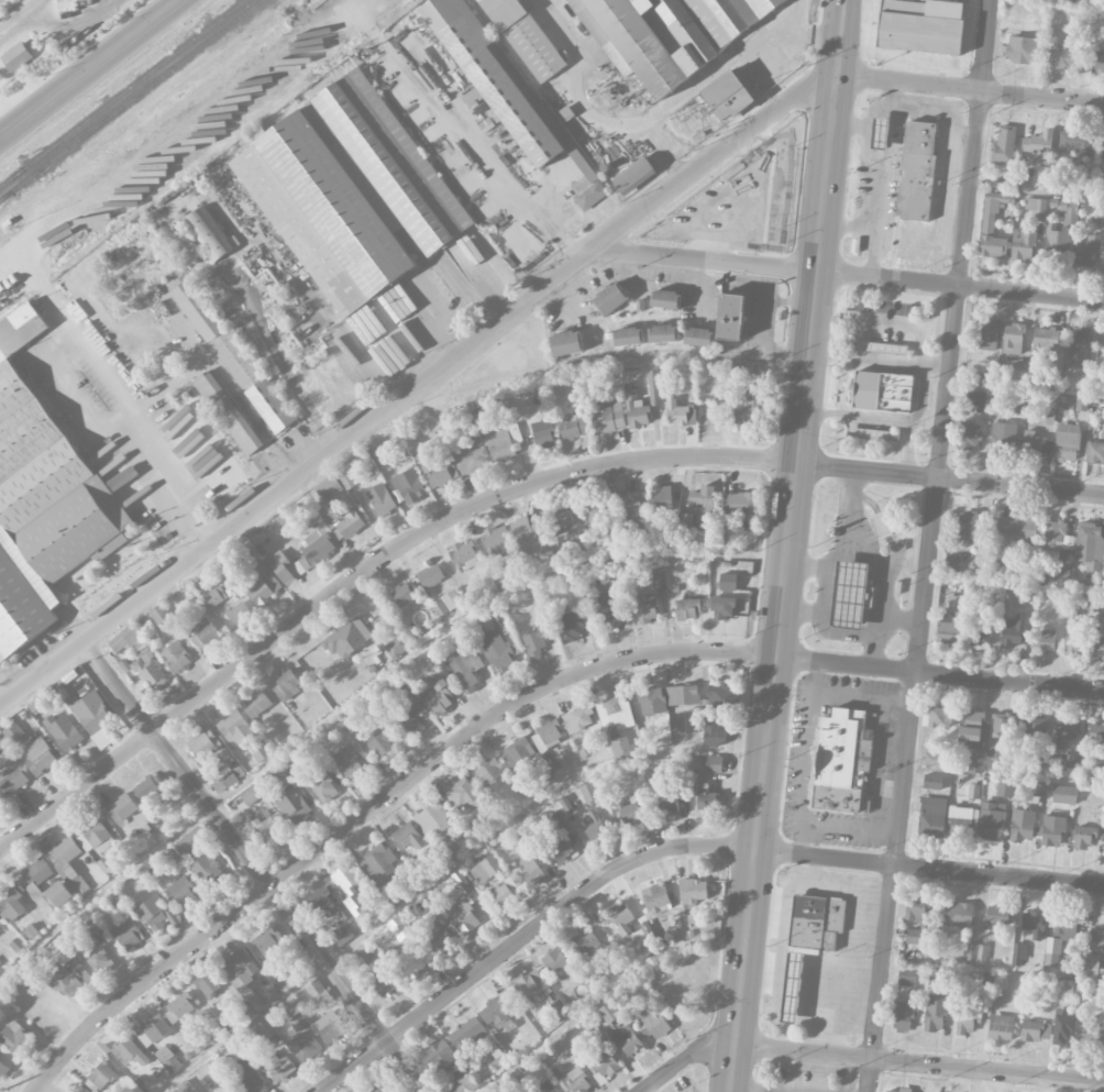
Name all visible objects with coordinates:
road: (843, 19)
building: (920, 25)
road: (795, 27)
building: (670, 32)
building: (525, 37)
building: (1023, 49)
building: (16, 56)
building: (1062, 56)
road: (840, 57)
building: (1097, 60)
road: (91, 70)
road: (711, 74)
building: (505, 88)
road: (970, 91)
railway: (122, 93)
building: (727, 96)
road: (887, 96)
railway: (130, 99)
road: (586, 113)
road: (850, 124)
railway: (165, 125)
railway: (81, 128)
building: (1073, 142)
building: (1004, 146)
building: (1039, 147)
building: (1103, 152)
road: (887, 157)
building: (917, 170)
building: (632, 174)
building: (350, 191)
railway: (2, 197)
building: (1035, 205)
building: (1069, 207)
building: (1097, 211)
road: (848, 225)
building: (207, 234)
building: (186, 239)
building: (991, 239)
building: (1057, 240)
building: (1023, 245)
building: (1088, 252)
road: (777, 266)
road: (1031, 293)
building: (610, 299)
building: (665, 299)
building: (730, 317)
building: (662, 333)
building: (218, 337)
building: (628, 337)
building: (698, 337)
building: (983, 337)
building: (1013, 339)
building: (1045, 340)
building: (1078, 342)
building: (565, 343)
building: (1101, 344)
building: (881, 348)
road: (91, 355)
road: (274, 356)
building: (1019, 372)
road: (227, 377)
road: (416, 383)
building: (653, 388)
building: (895, 393)
building: (979, 401)
building: (1081, 404)
building: (271, 406)
building: (636, 408)
building: (746, 408)
building: (228, 413)
building: (680, 415)
building: (608, 417)
building: (573, 428)
building: (543, 434)
building: (972, 437)
building: (1003, 437)
building: (503, 442)
building: (1067, 442)
building: (1033, 443)
building: (1094, 452)
building: (470, 459)
building: (437, 475)
building: (346, 482)
building: (409, 486)
building: (328, 488)
road: (498, 496)
building: (42, 498)
building: (661, 498)
building: (704, 498)
building: (380, 499)
building: (739, 504)
building: (633, 505)
building: (599, 511)
building: (290, 518)
building: (560, 519)
building: (345, 523)
building: (964, 523)
building: (881, 525)
building: (1017, 529)
building: (530, 534)
building: (1058, 536)
building: (496, 539)
road: (846, 540)
building: (317, 544)
road: (929, 545)
building: (1089, 547)
building: (244, 555)
building: (464, 556)
building: (1053, 558)
building: (301, 565)
building: (283, 569)
road: (882, 575)
building: (431, 576)
building: (658, 578)
building: (728, 582)
road: (784, 584)
building: (264, 585)
building: (588, 587)
building: (850, 594)
building: (402, 595)
building: (213, 598)
building: (448, 603)
building: (957, 605)
building: (645, 607)
building: (722, 607)
road: (819, 608)
building: (687, 609)
building: (238, 613)
building: (159, 614)
building: (609, 618)
building: (570, 626)
building: (949, 629)
building: (1014, 632)
road: (865, 633)
building: (203, 636)
building: (981, 636)
building: (1047, 637)
building: (347, 638)
building: (534, 642)
building: (397, 646)
building: (1077, 646)
building: (1099, 647)
building: (496, 650)
road: (869, 650)
building: (140, 657)
building: (176, 658)
building: (464, 668)
building: (286, 685)
building: (438, 695)
building: (683, 695)
building: (722, 698)
road: (862, 698)
building: (652, 702)
building: (256, 704)
road: (505, 706)
building: (90, 710)
building: (615, 712)
building: (407, 716)
building: (938, 717)
building: (578, 719)
building: (1002, 724)
building: (678, 727)
building: (1037, 727)
building: (235, 729)
building: (971, 730)
building: (64, 731)
building: (713, 731)
building: (13, 732)
building: (1064, 732)
building: (1095, 732)
building: (547, 736)
building: (380, 741)
building: (1, 743)
building: (203, 743)
building: (620, 746)
building: (518, 751)
building: (40, 757)
road: (805, 757)
building: (935, 760)
building: (1070, 760)
building: (841, 762)
building: (975, 762)
building: (349, 763)
building: (714, 764)
building: (487, 774)
building: (273, 776)
building: (13, 781)
building: (223, 781)
building: (932, 782)
building: (322, 785)
building: (148, 786)
building: (1004, 787)
building: (1029, 790)
building: (589, 792)
building: (1063, 794)
building: (463, 795)
building: (243, 799)
building: (706, 801)
building: (667, 802)
building: (0, 805)
building: (292, 806)
building: (121, 808)
building: (629, 813)
building: (931, 817)
building: (433, 819)
building: (991, 819)
building: (960, 821)
building: (1023, 825)
building: (593, 827)
building: (267, 830)
building: (1052, 830)
road: (847, 832)
building: (92, 836)
building: (1082, 836)
building: (408, 837)
building: (190, 841)
road: (672, 847)
building: (1103, 849)
building: (60, 850)
building: (561, 850)
road: (253, 863)
building: (379, 865)
building: (486, 869)
building: (531, 871)
building: (208, 872)
building: (37, 873)
building: (78, 885)
building: (351, 887)
building: (693, 891)
building: (183, 892)
building: (504, 892)
building: (54, 897)
building: (656, 898)
building: (11, 901)
building: (320, 901)
building: (123, 908)
building: (463, 908)
building: (916, 908)
building: (431, 911)
building: (156, 914)
building: (958, 914)
building: (998, 915)
building: (621, 918)
building: (1033, 926)
building: (86, 928)
building: (397, 928)
building: (126, 935)
building: (343, 935)
building: (441, 936)
building: (915, 937)
building: (1097, 937)
building: (1059, 938)
building: (809, 940)
building: (265, 944)
building: (586, 944)
building: (975, 952)
building: (361, 955)
building: (1019, 955)
building: (99, 960)
building: (415, 962)
building: (556, 962)
building: (1094, 967)
building: (1, 969)
building: (240, 972)
building: (906, 977)
building: (70, 979)
building: (1000, 983)
building: (383, 984)
building: (209, 985)
building: (532, 986)
building: (318, 992)
building: (179, 1008)
building: (496, 1014)
building: (935, 1014)
building: (610, 1015)
building: (904, 1017)
building: (298, 1022)
building: (651, 1023)
building: (964, 1023)
building: (330, 1027)
building: (1001, 1027)
building: (1062, 1027)
building: (1036, 1030)
building: (154, 1032)
building: (1097, 1032)
building: (467, 1035)
building: (14, 1037)
building: (197, 1043)
building: (631, 1045)
building: (305, 1047)
building: (131, 1052)
building: (167, 1059)
building: (439, 1059)
road: (683, 1059)
road: (918, 1062)
building: (605, 1063)
building: (278, 1067)
building: (3, 1069)
building: (101, 1076)
building: (251, 1079)
building: (467, 1083)
building: (185, 1087)
building: (380, 1088)
building: (545, 1088)
building: (80, 1089)
building: (905, 1090)
building: (506, 1091)
building: (890, 1091)

